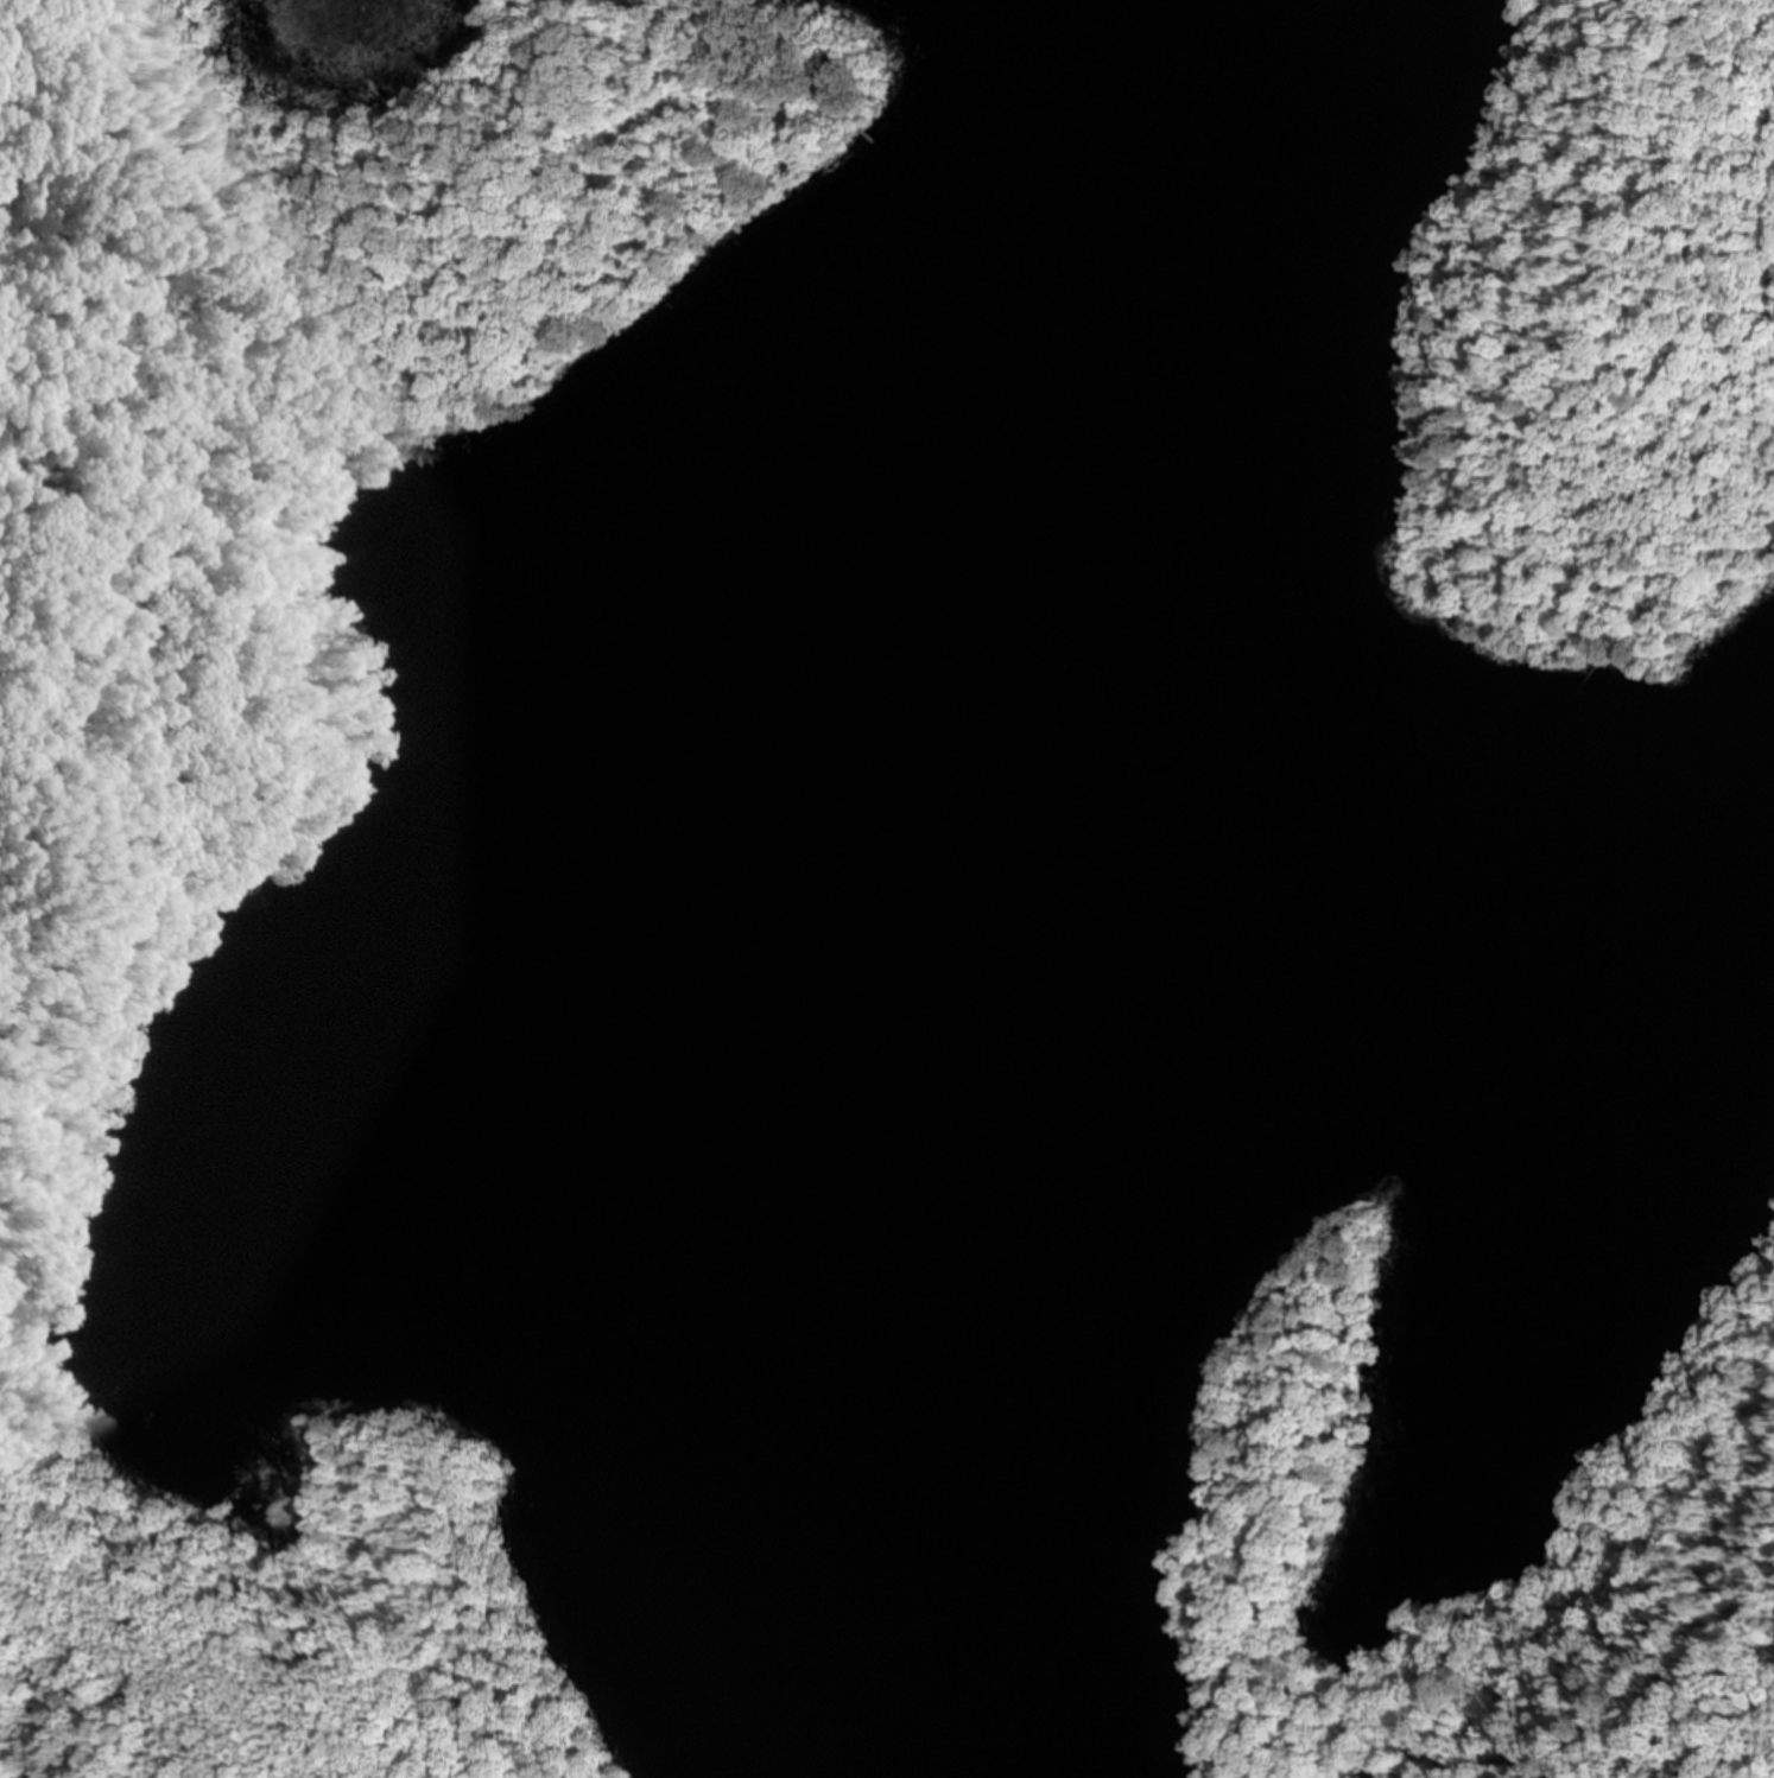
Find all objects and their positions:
road: (272, 307)

